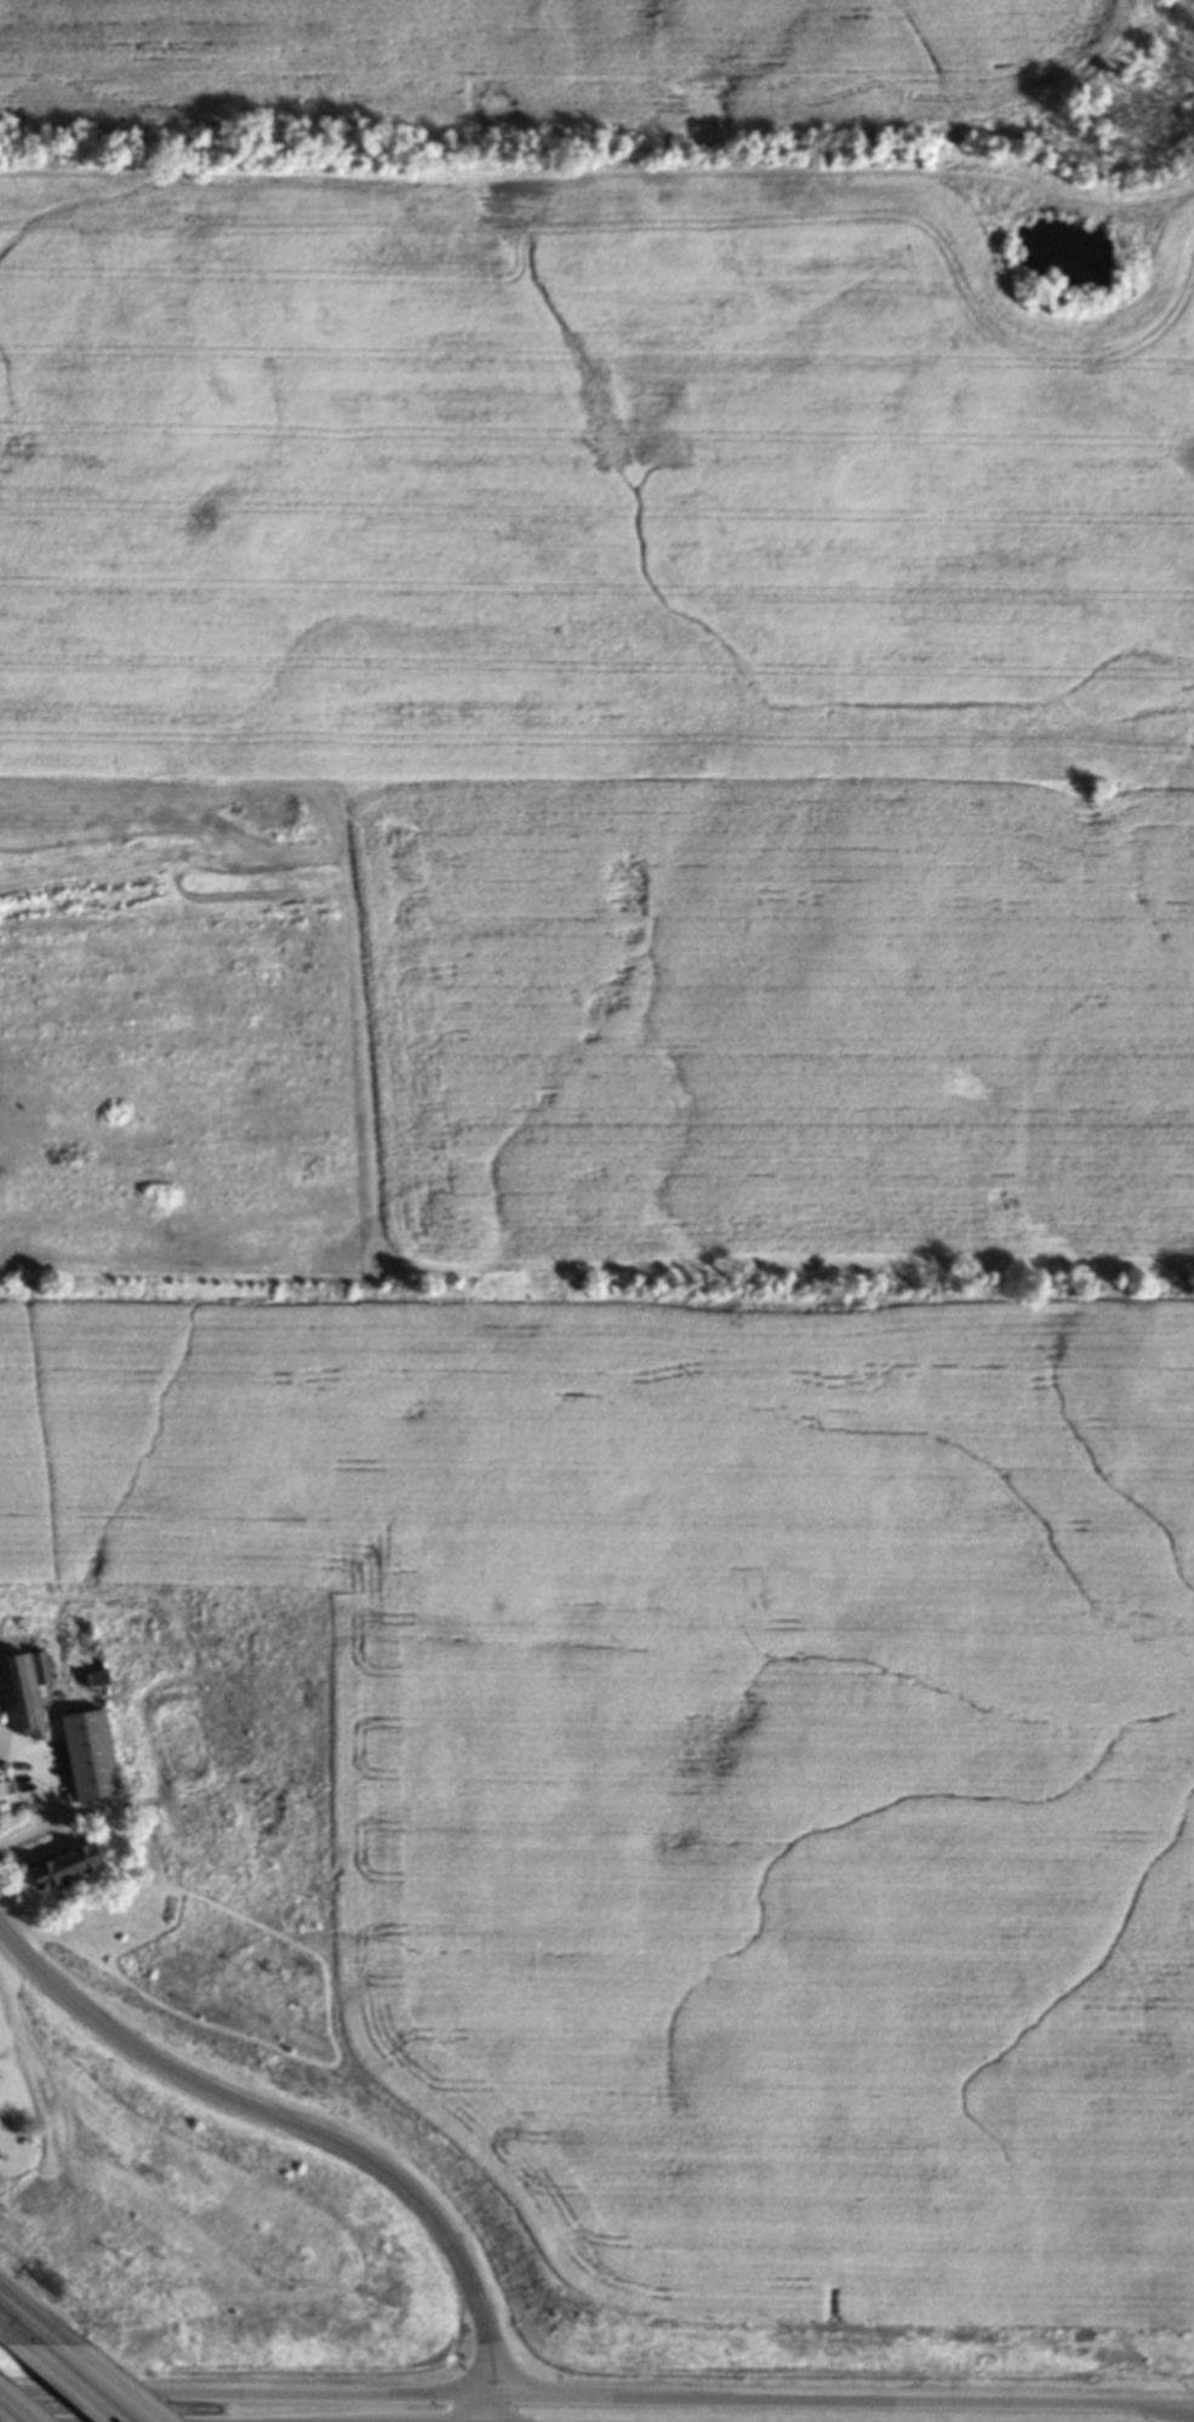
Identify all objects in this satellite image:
building: (28, 1691)
building: (93, 1755)
building: (8, 1788)
road: (40, 1793)
building: (72, 1865)
park: (75, 2119)
road: (310, 2127)
power tower: (82, 2296)
road: (35, 2312)
road: (17, 2325)
road: (82, 2381)
road: (121, 2382)
road: (255, 2394)
road: (839, 2401)
road: (1182, 2405)
road: (16, 2407)
road: (1171, 2414)

